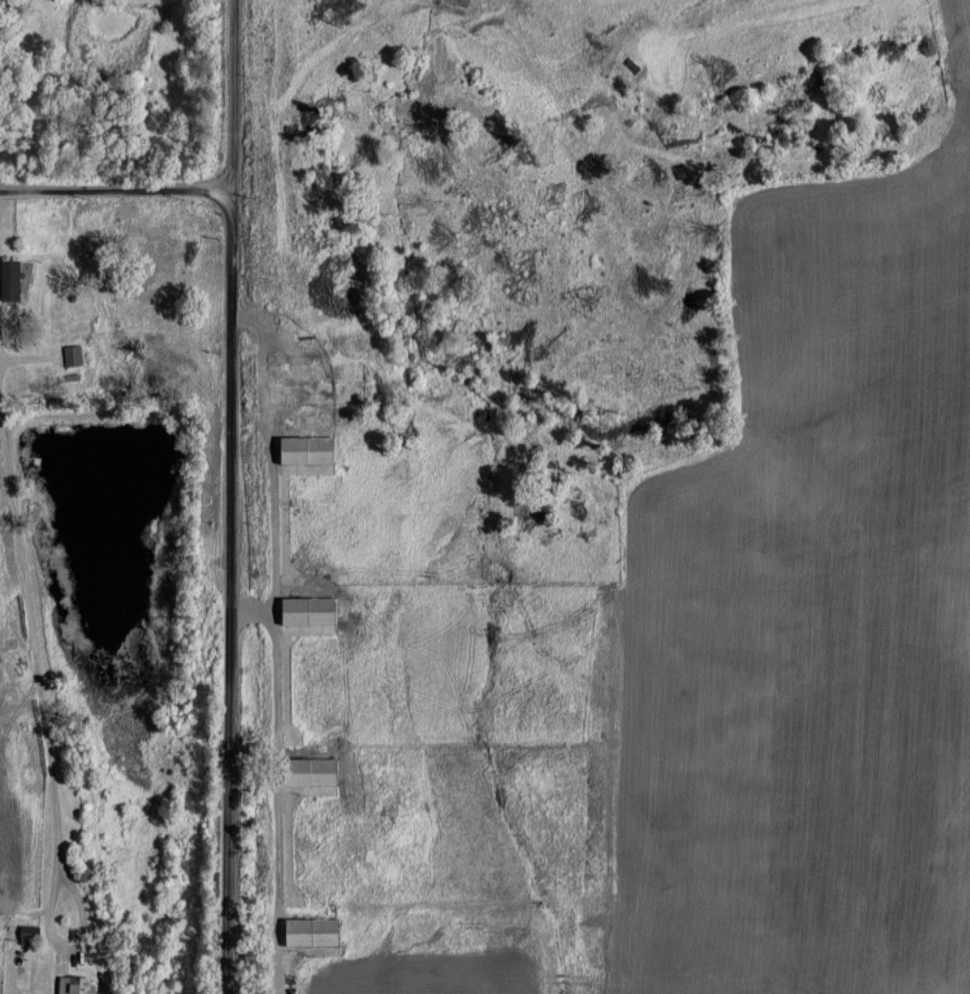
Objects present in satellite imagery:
road: (3, 44)
road: (117, 189)
building: (9, 279)
building: (72, 354)
building: (306, 449)
road: (231, 496)
building: (307, 610)
road: (26, 639)
building: (309, 771)
building: (311, 931)
road: (65, 938)
building: (75, 985)

